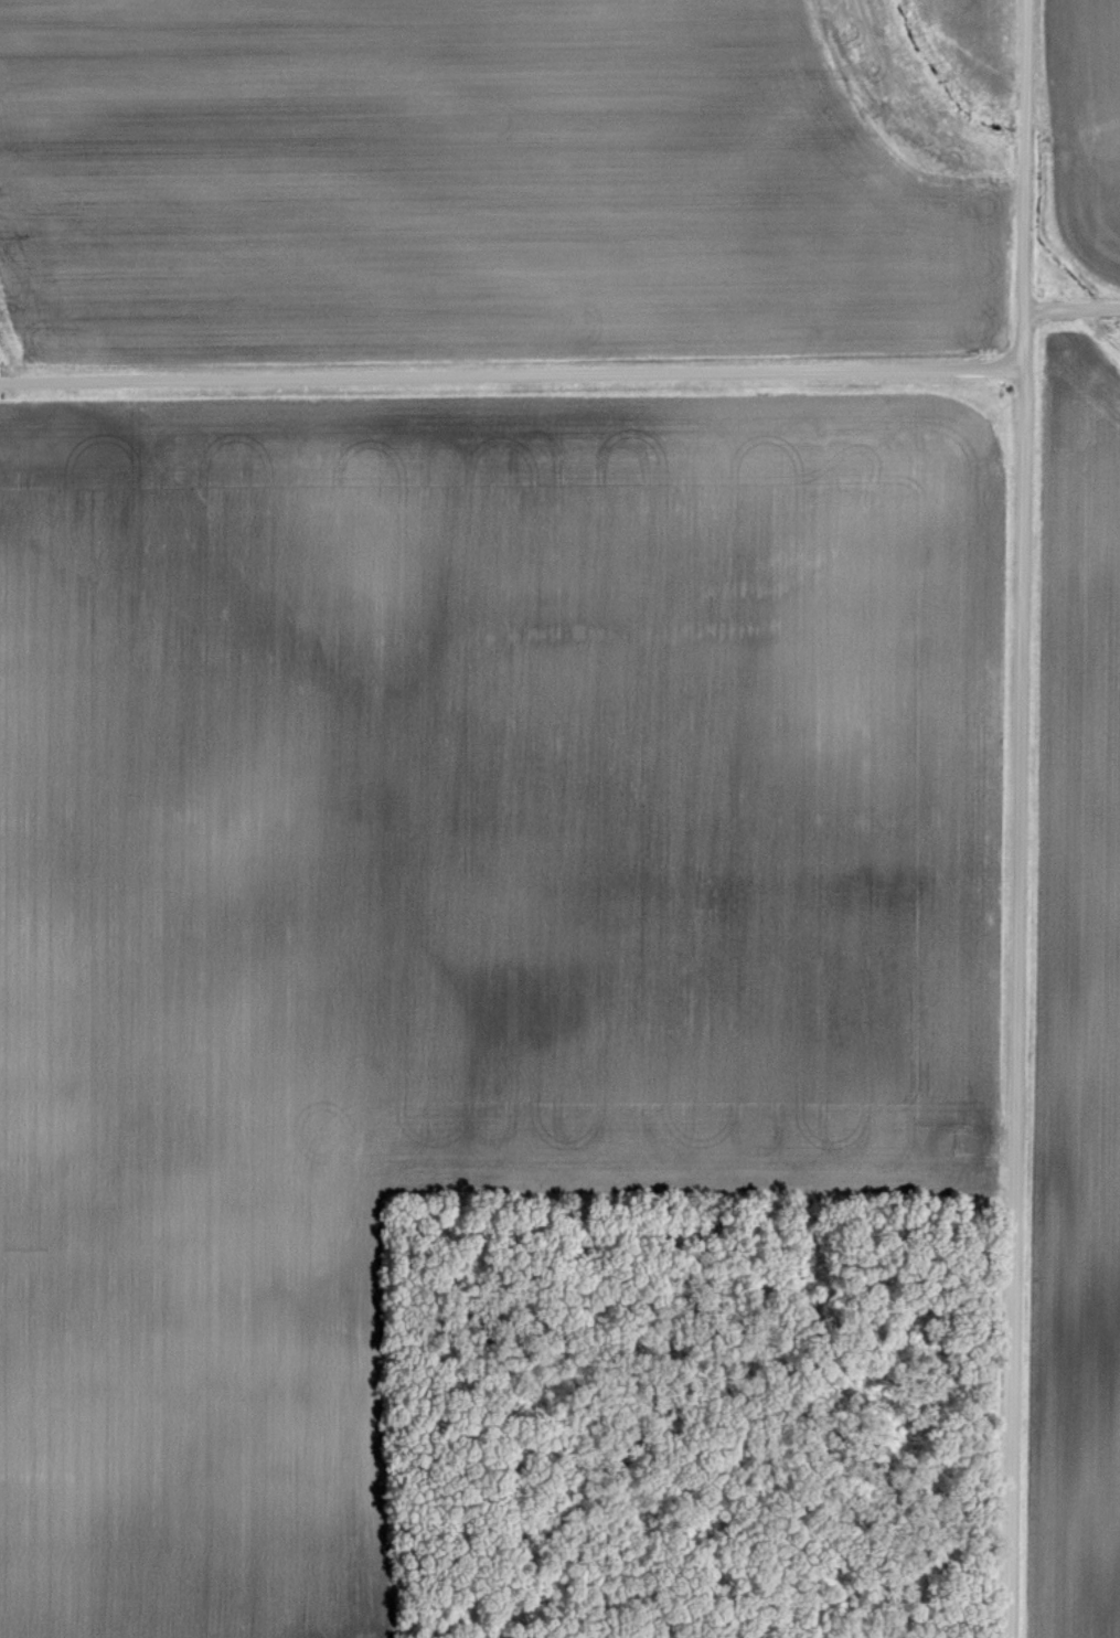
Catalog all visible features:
crop: (463, 187)
road: (1071, 308)
road: (512, 375)
road: (1022, 819)
crop: (447, 908)

